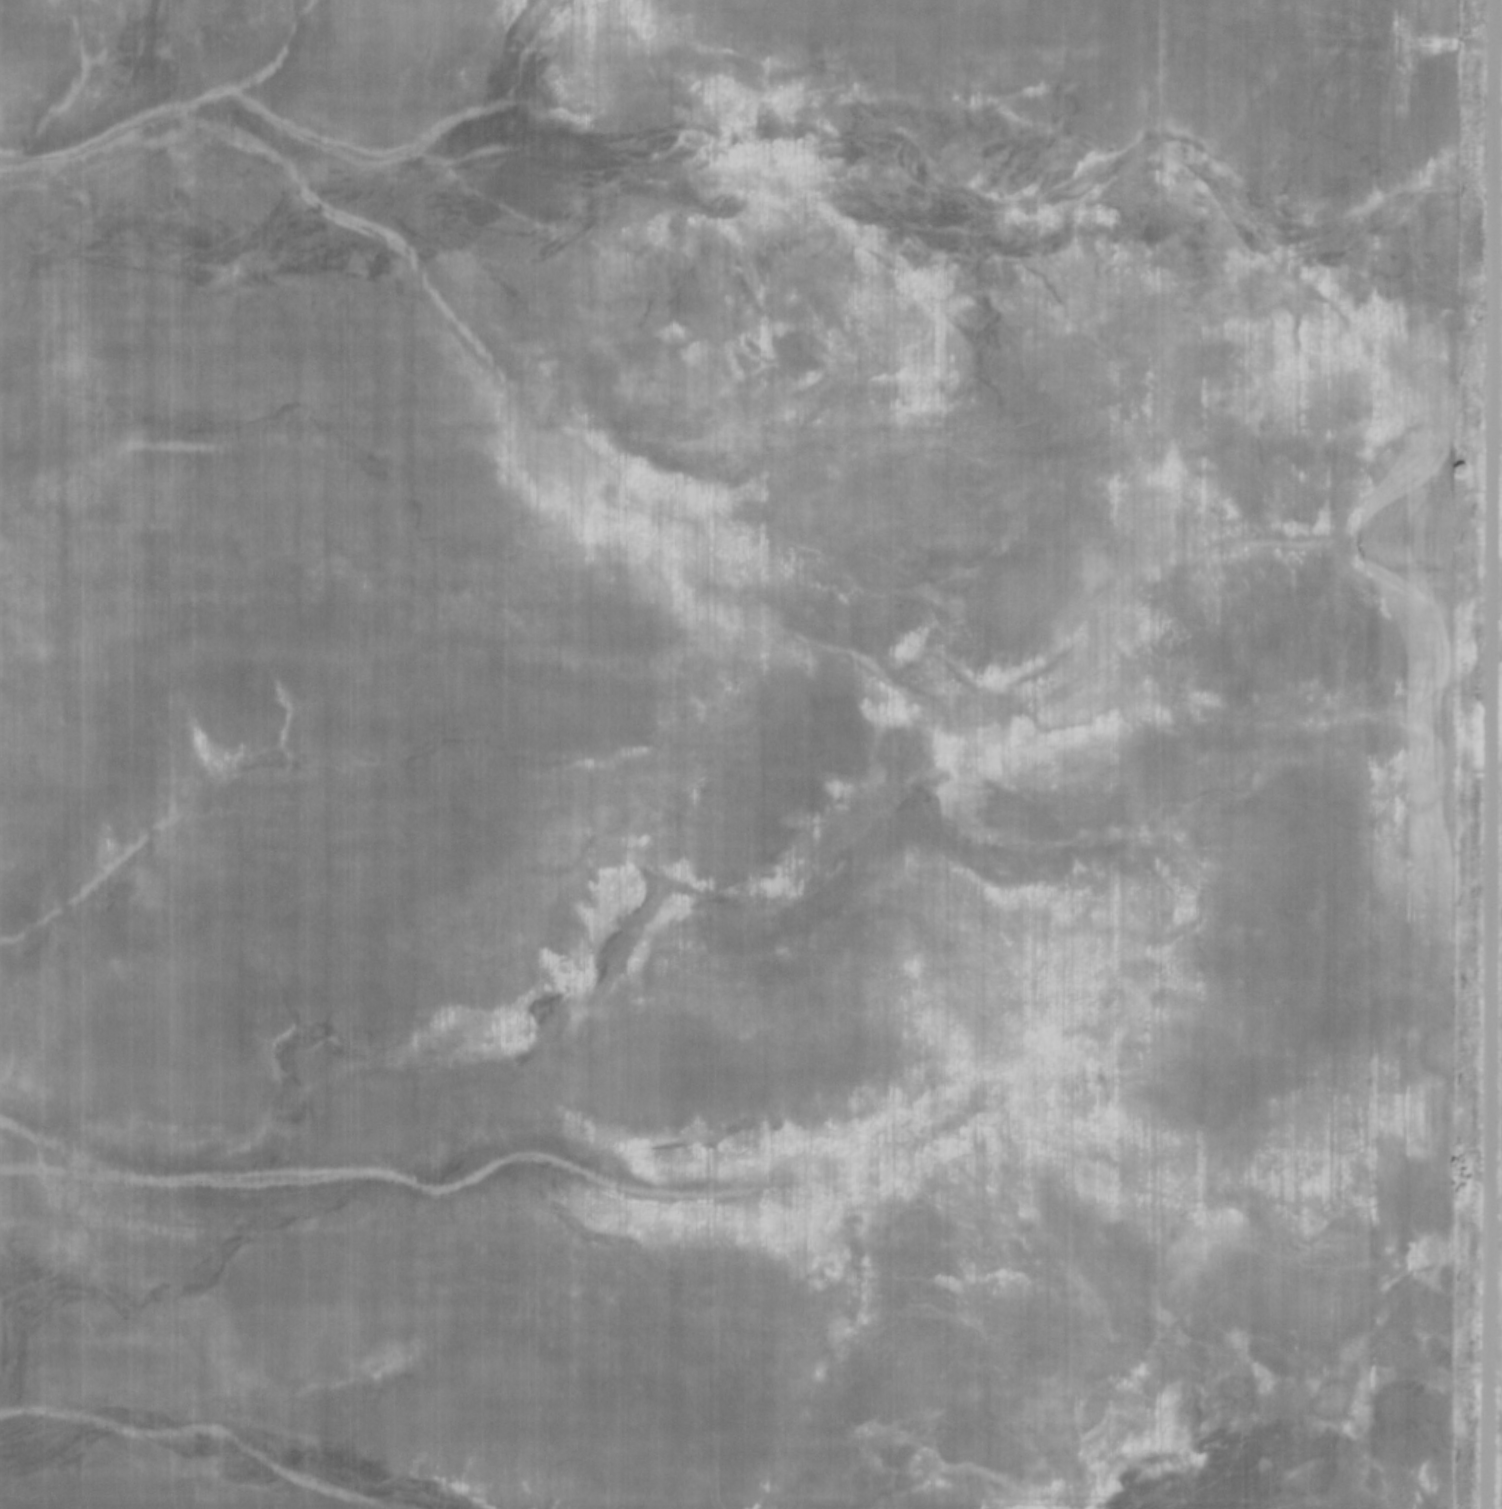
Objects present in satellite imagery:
road: (1492, 754)

